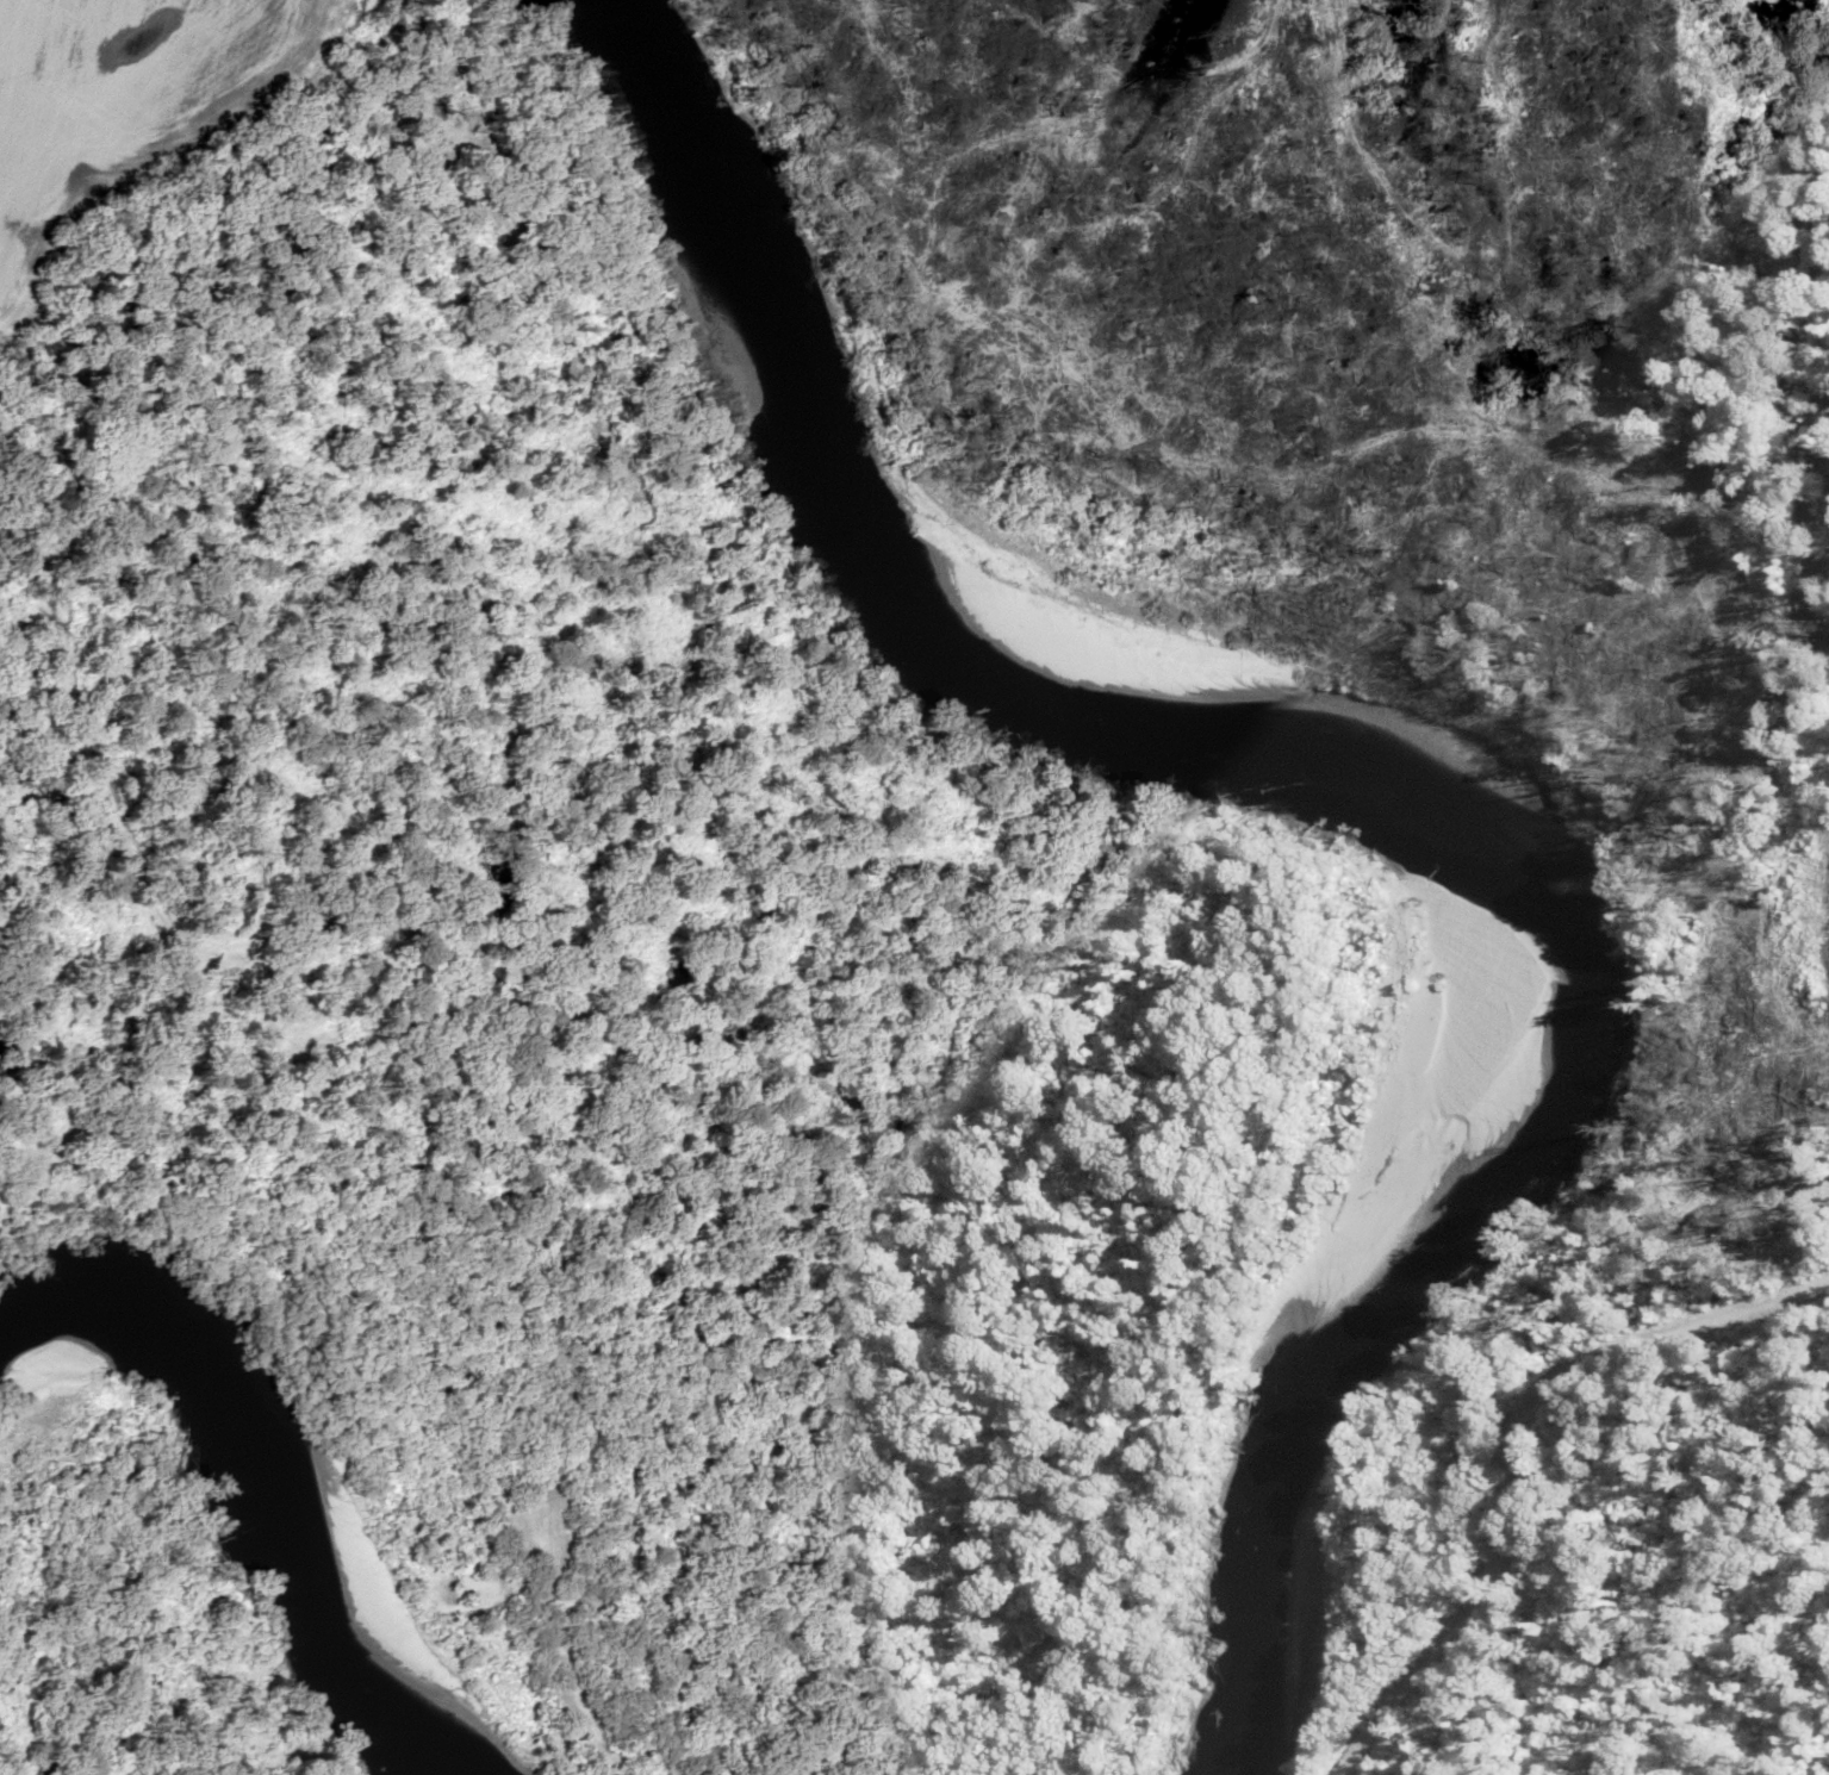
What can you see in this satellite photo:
river: (1380, 723)
river: (301, 1480)

